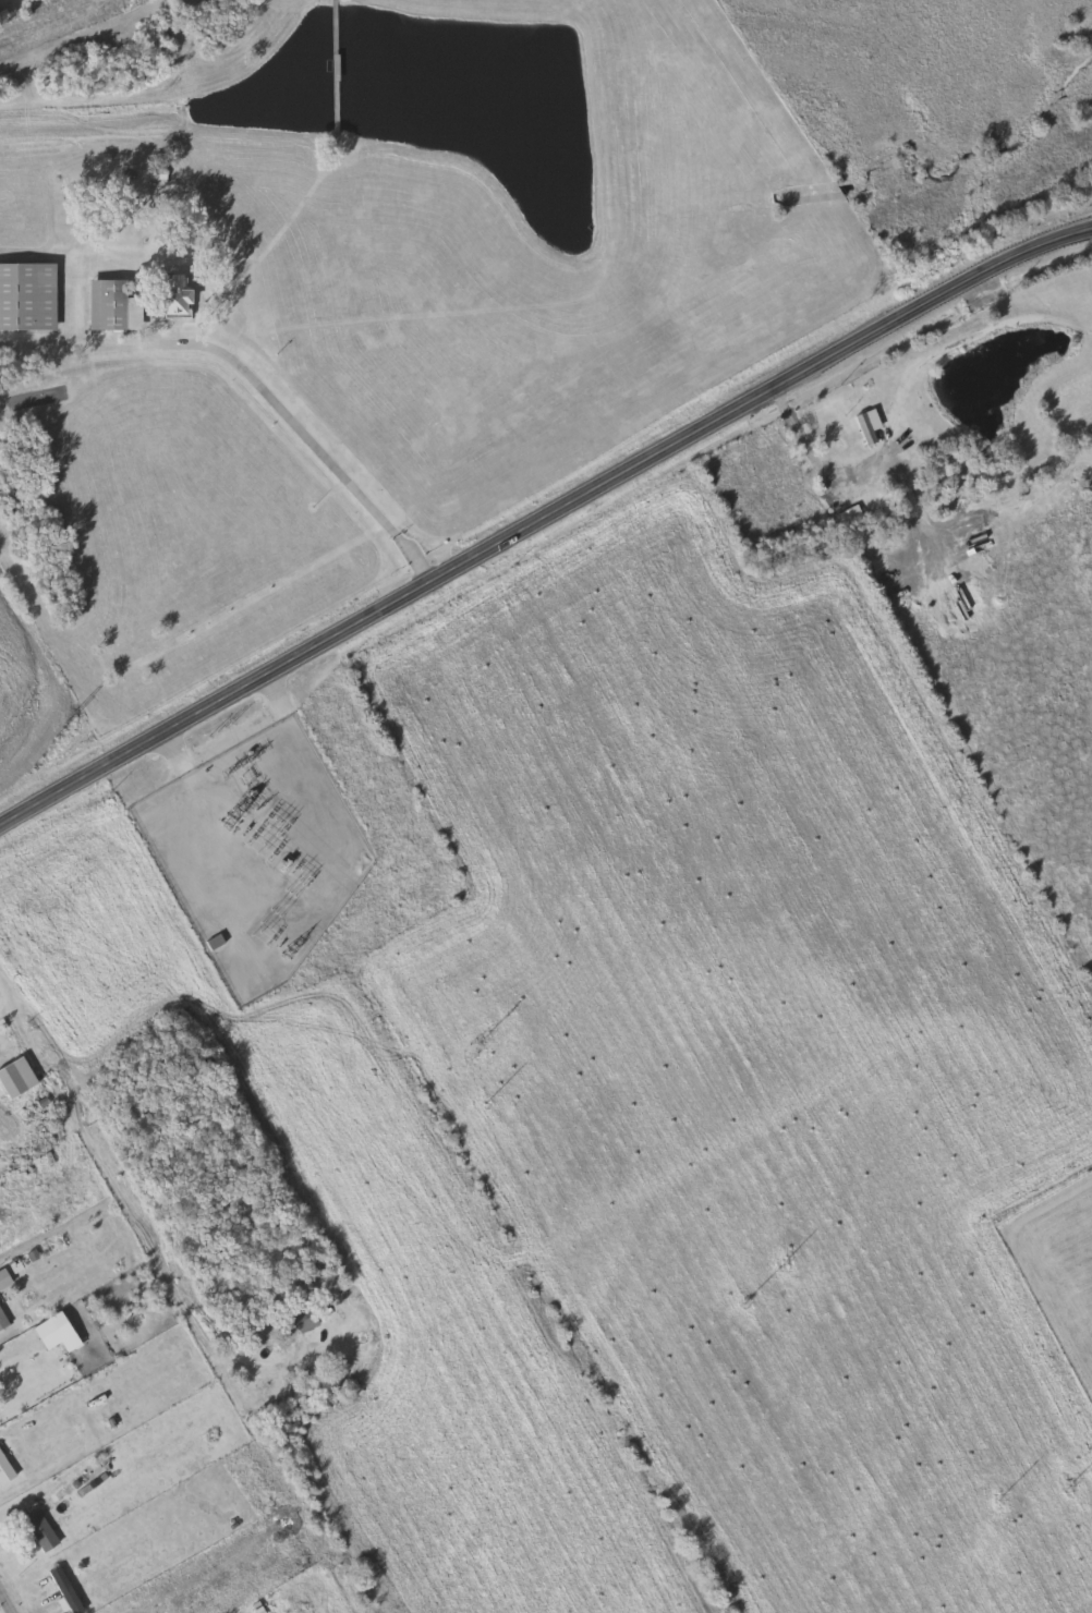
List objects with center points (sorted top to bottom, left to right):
building: (29, 294)
building: (181, 294)
building: (117, 304)
road: (303, 429)
road: (803, 438)
building: (849, 516)
road: (543, 517)
power tower: (68, 721)
power substation: (256, 852)
building: (217, 939)
road: (2, 995)
building: (7, 1054)
building: (19, 1076)
road: (133, 1213)
building: (311, 1317)
building: (3, 1319)
road: (1, 1359)
building: (43, 1530)
building: (68, 1588)
road: (5, 1601)

